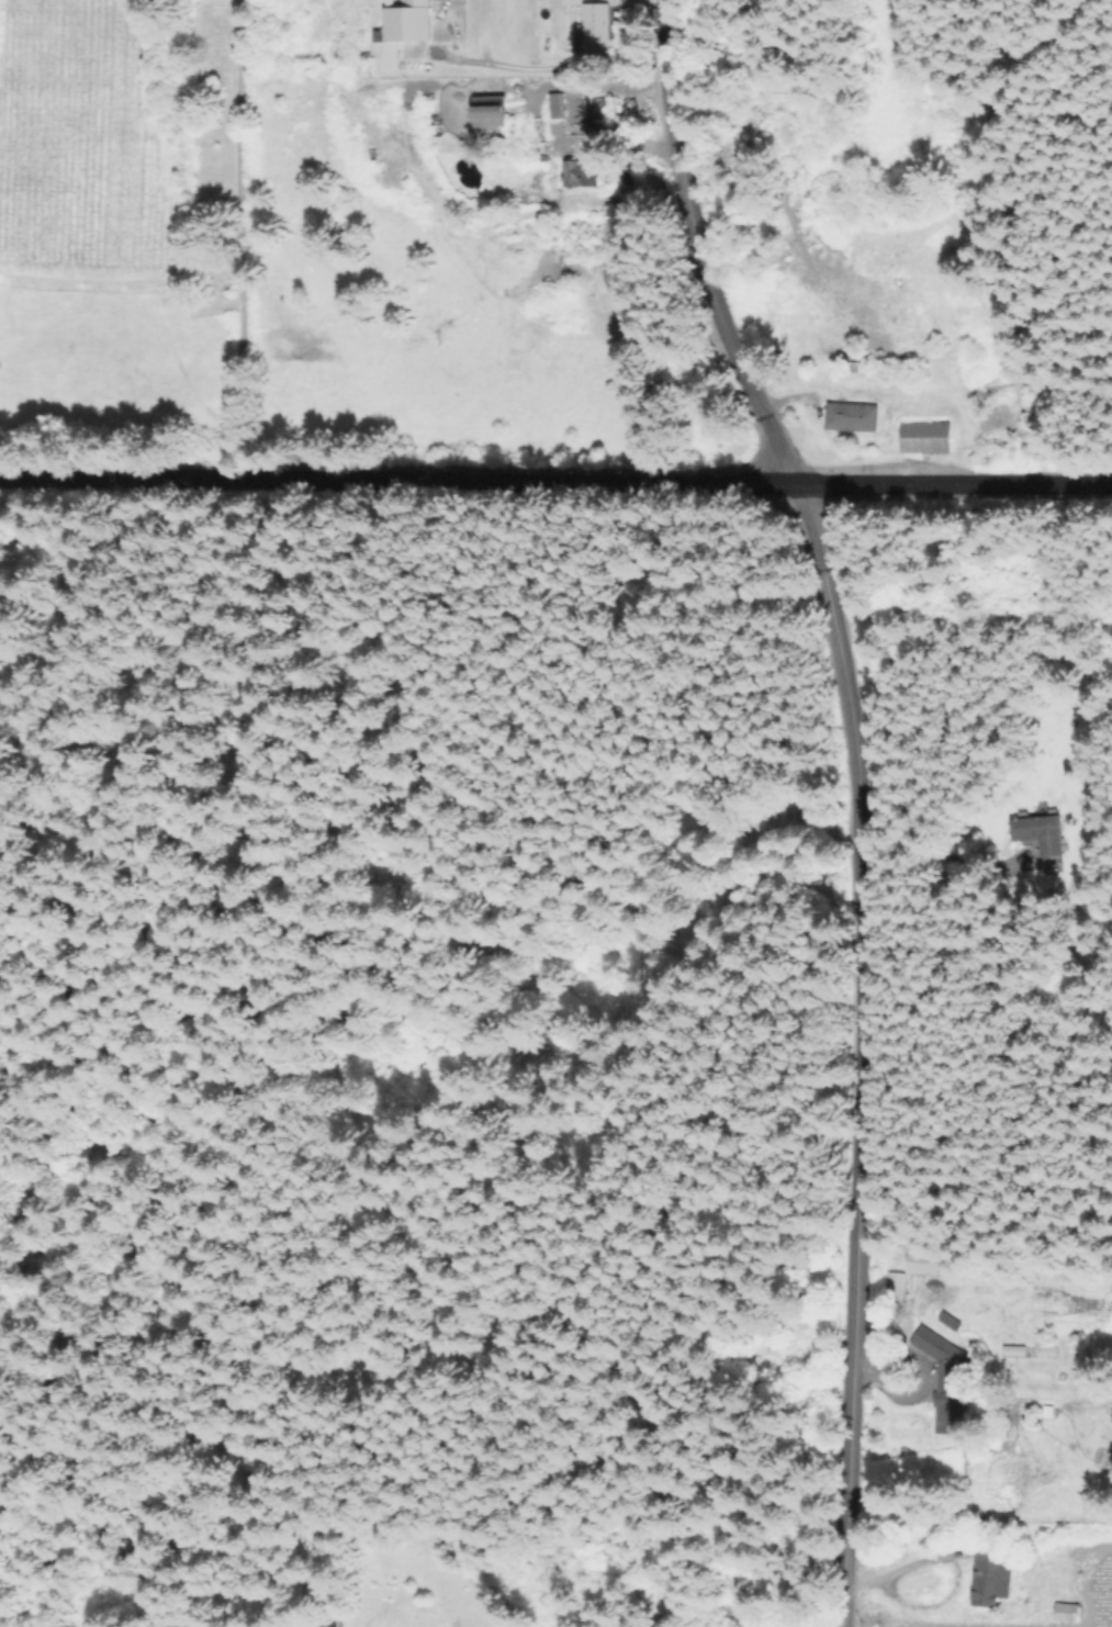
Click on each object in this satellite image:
building: (401, 18)
building: (588, 22)
building: (603, 104)
building: (553, 105)
building: (487, 106)
building: (594, 115)
building: (575, 173)
road: (235, 239)
road: (693, 248)
building: (845, 409)
building: (921, 431)
road: (555, 484)
building: (1027, 829)
road: (854, 1053)
building: (909, 1271)
building: (946, 1322)
building: (935, 1350)
building: (945, 1402)
road: (950, 1564)
building: (987, 1579)
building: (1063, 1614)

